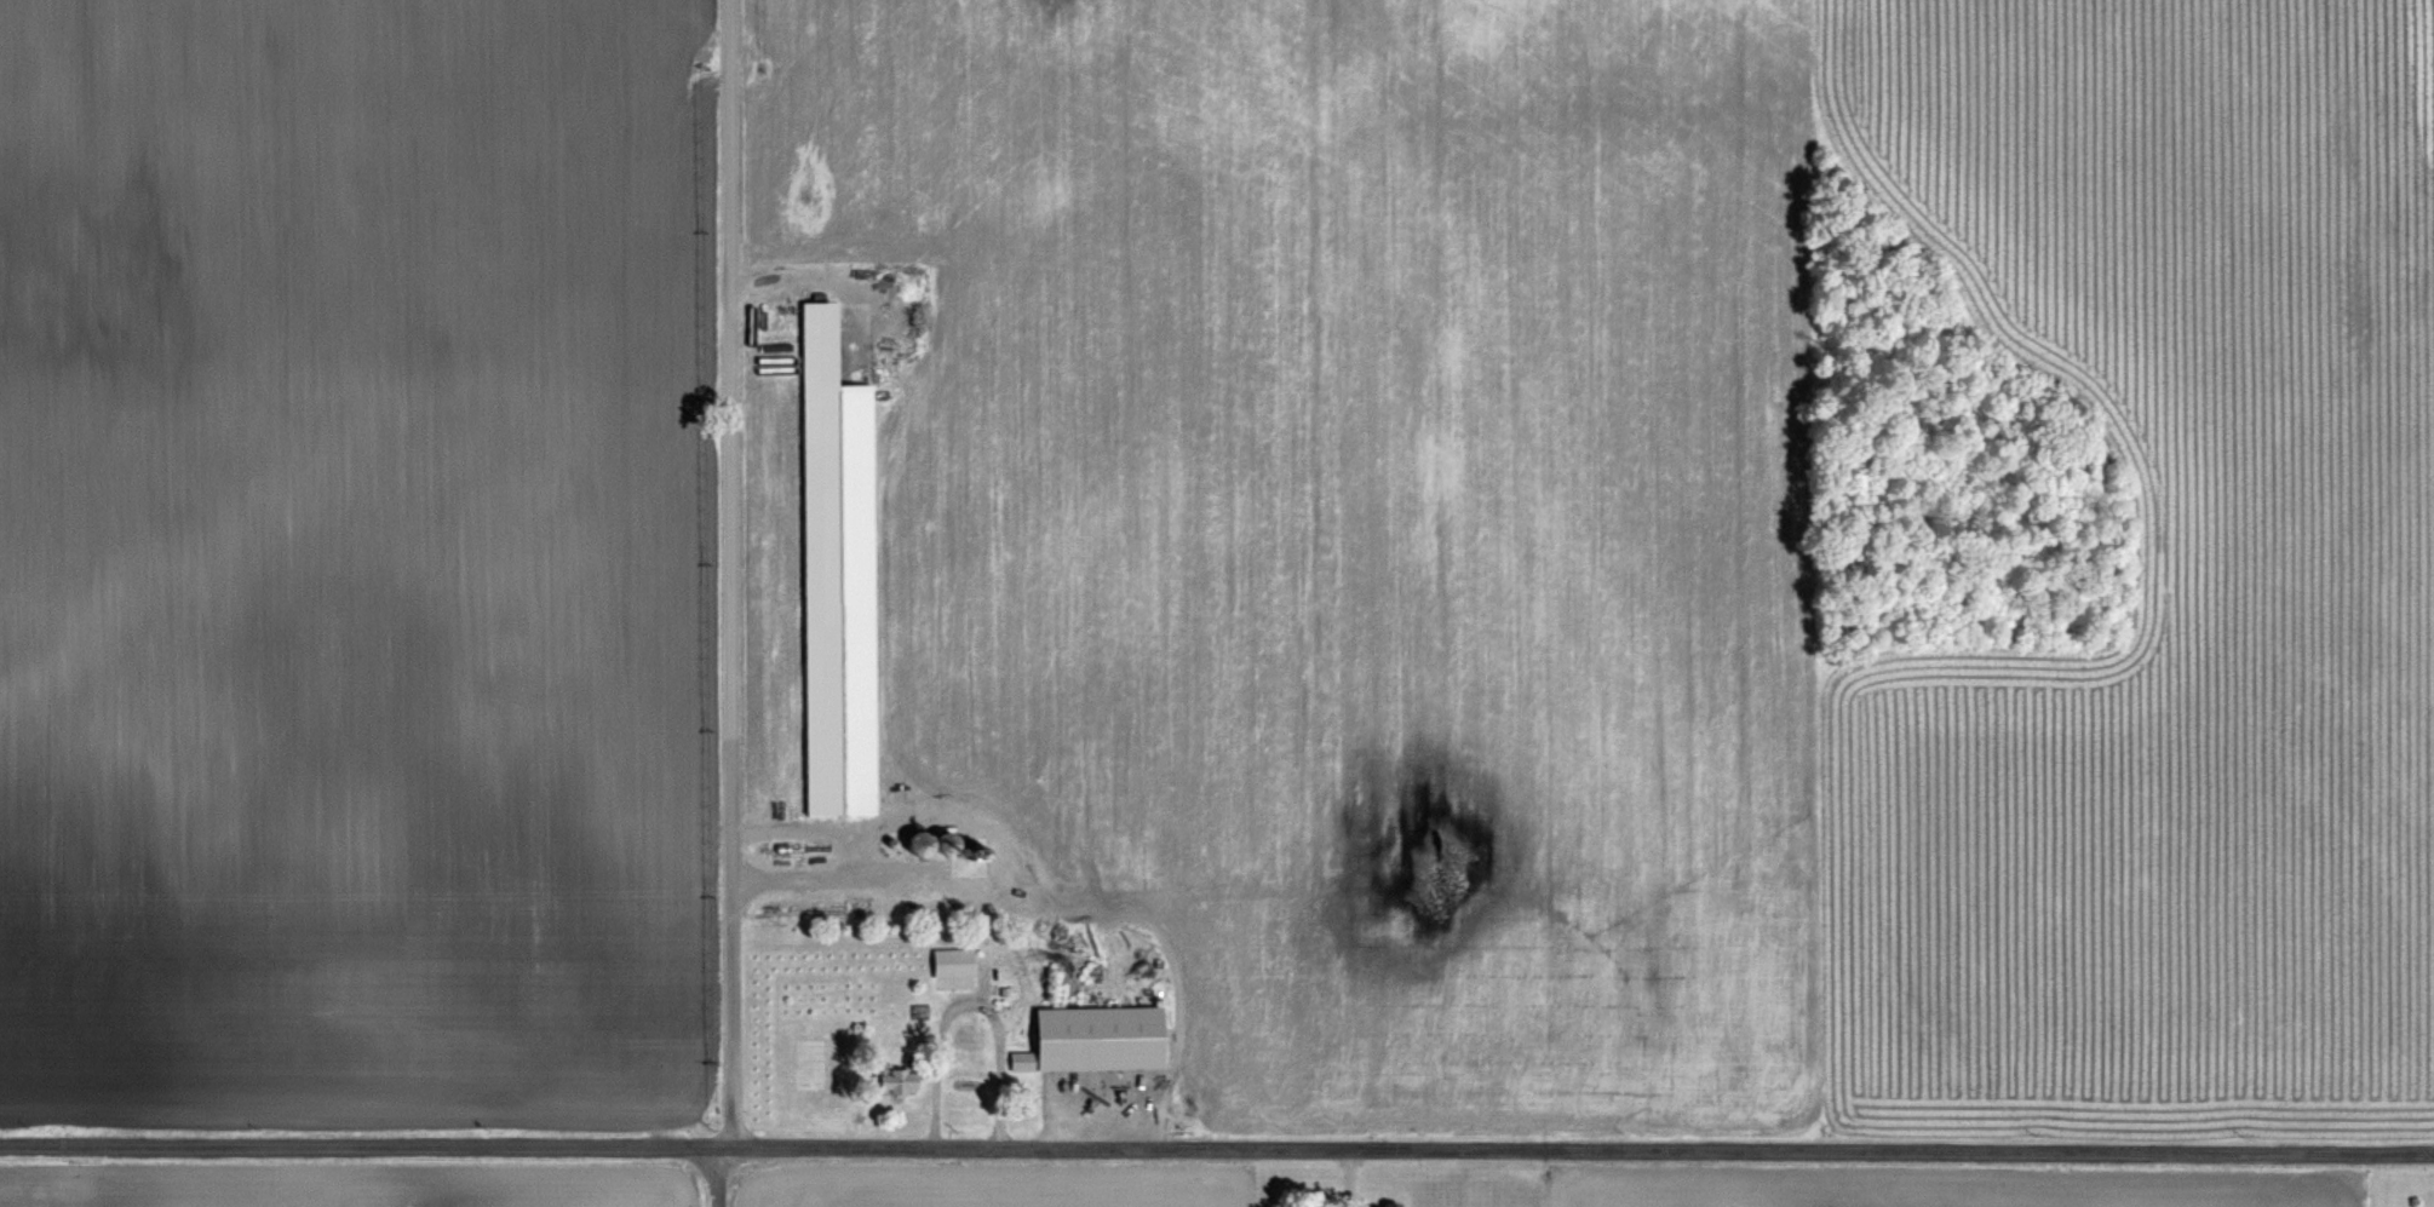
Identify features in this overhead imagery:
building: (65, 222)
building: (1, 241)
building: (161, 324)
road: (63, 358)
road: (724, 574)
building: (842, 574)
building: (955, 962)
road: (961, 1008)
building: (1100, 1039)
building: (900, 1079)
road: (1216, 1148)
road: (712, 1177)
building: (1384, 1205)

